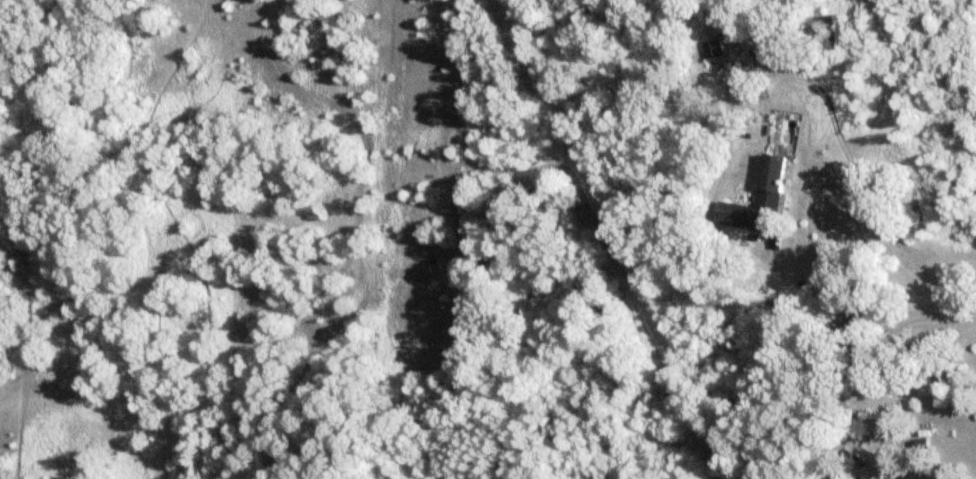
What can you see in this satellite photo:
building: (714, 49)
building: (767, 197)
road: (873, 274)
road: (907, 465)
building: (874, 475)

